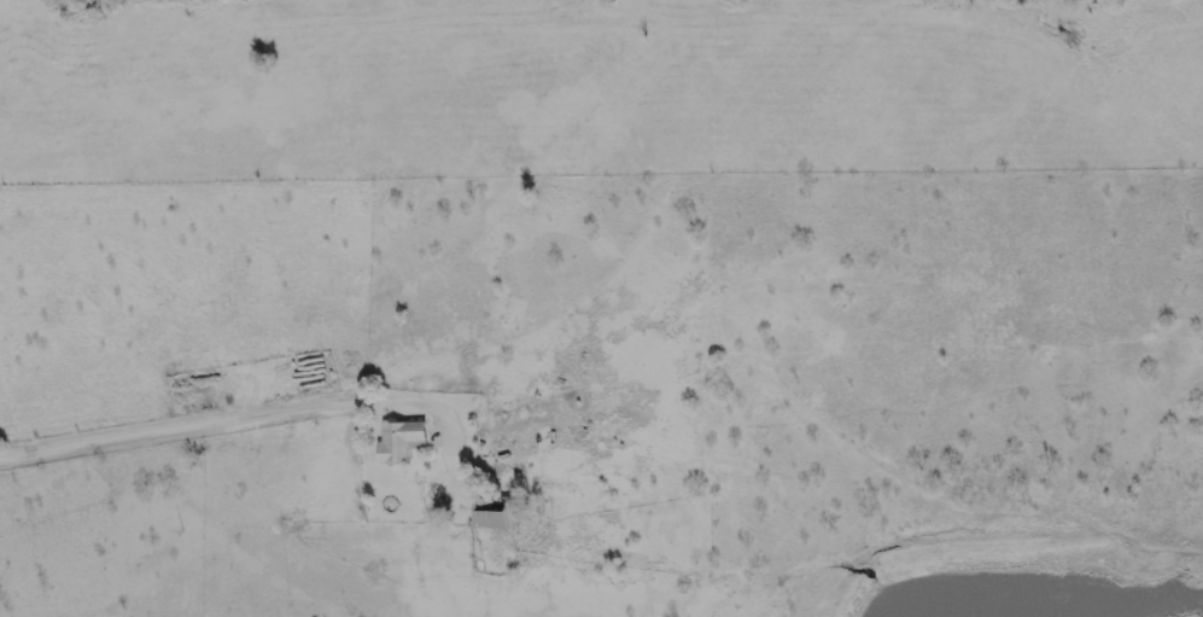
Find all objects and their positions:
road: (218, 409)
building: (397, 442)
building: (490, 514)

